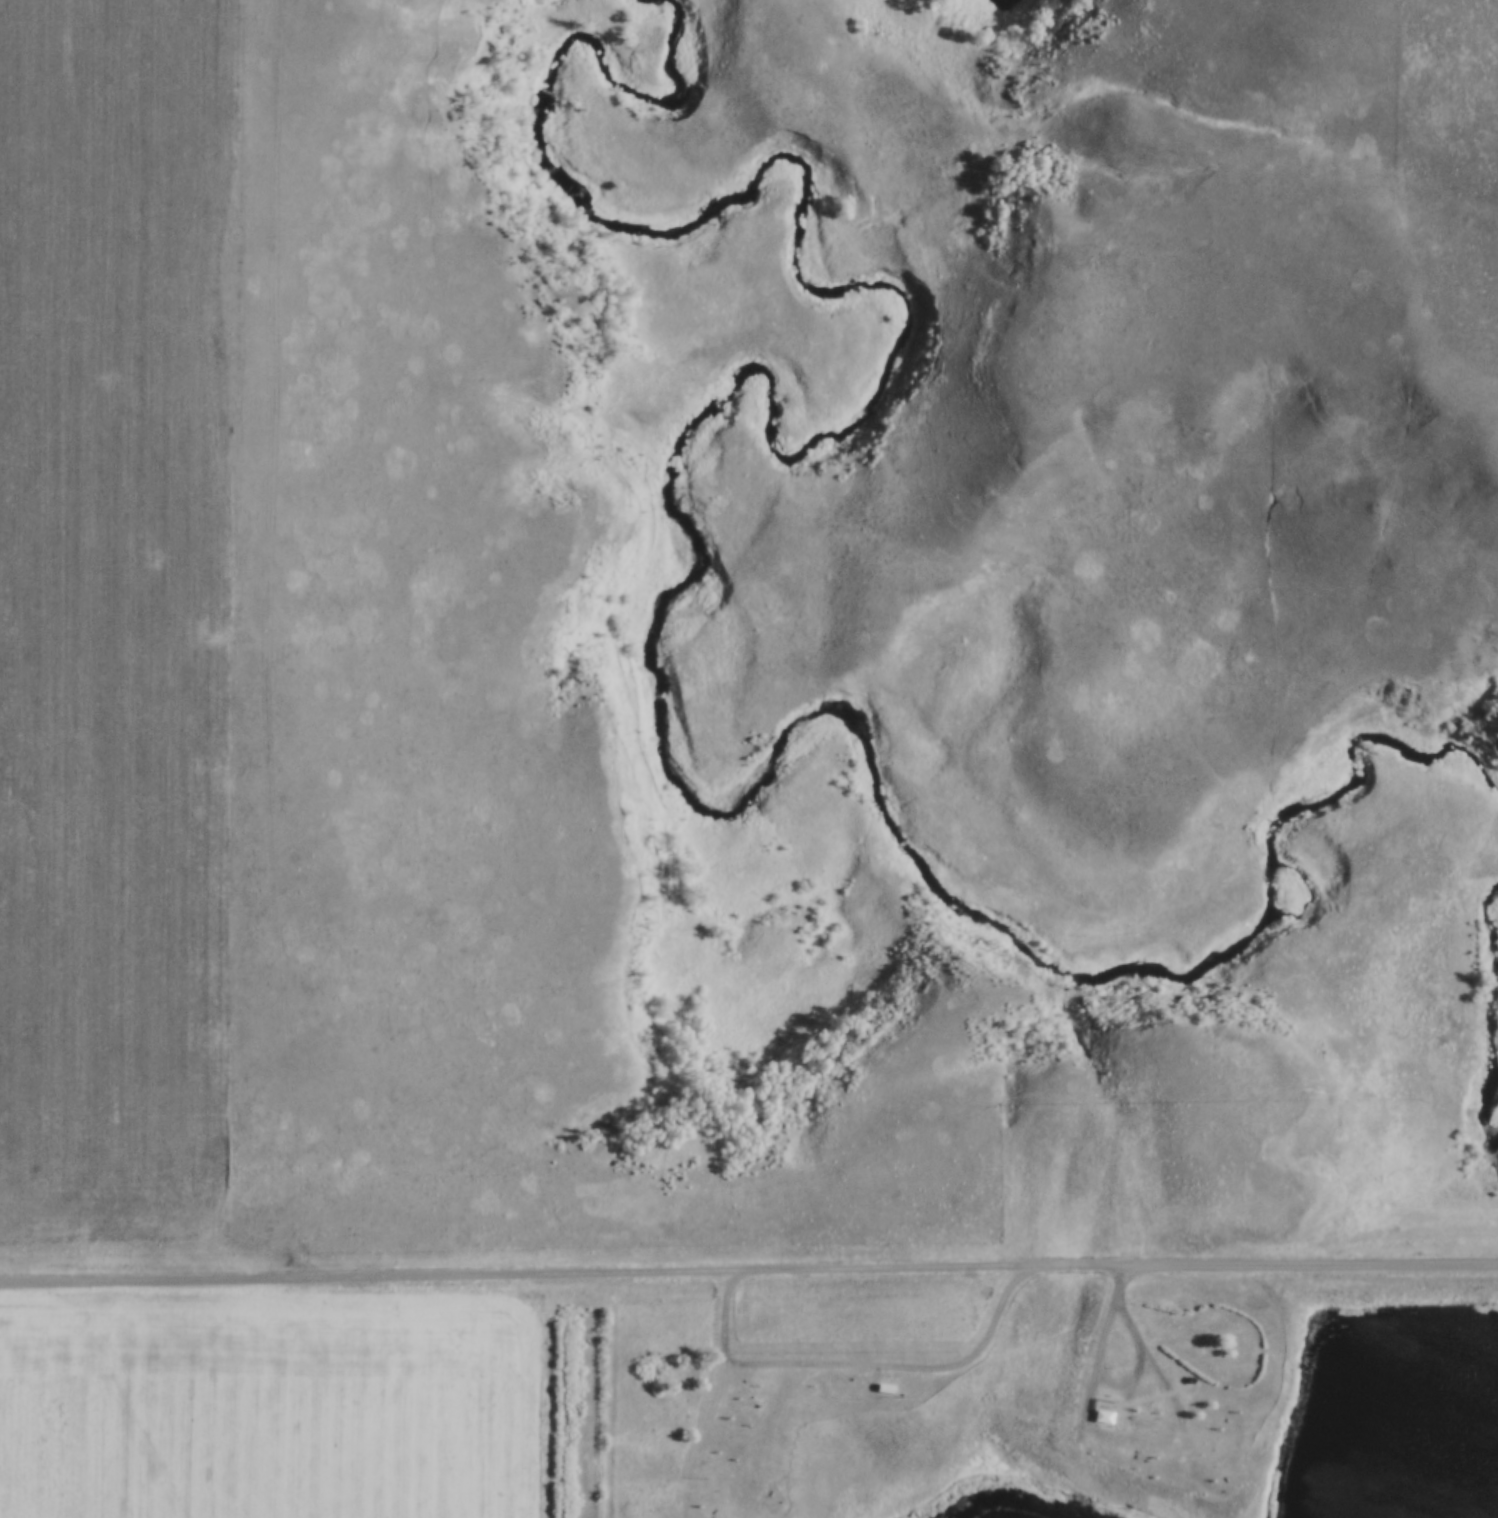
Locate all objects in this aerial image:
road: (748, 1268)
dam: (1396, 1303)
road: (854, 1372)
building: (880, 1385)
park: (1018, 1403)
building: (1102, 1415)

